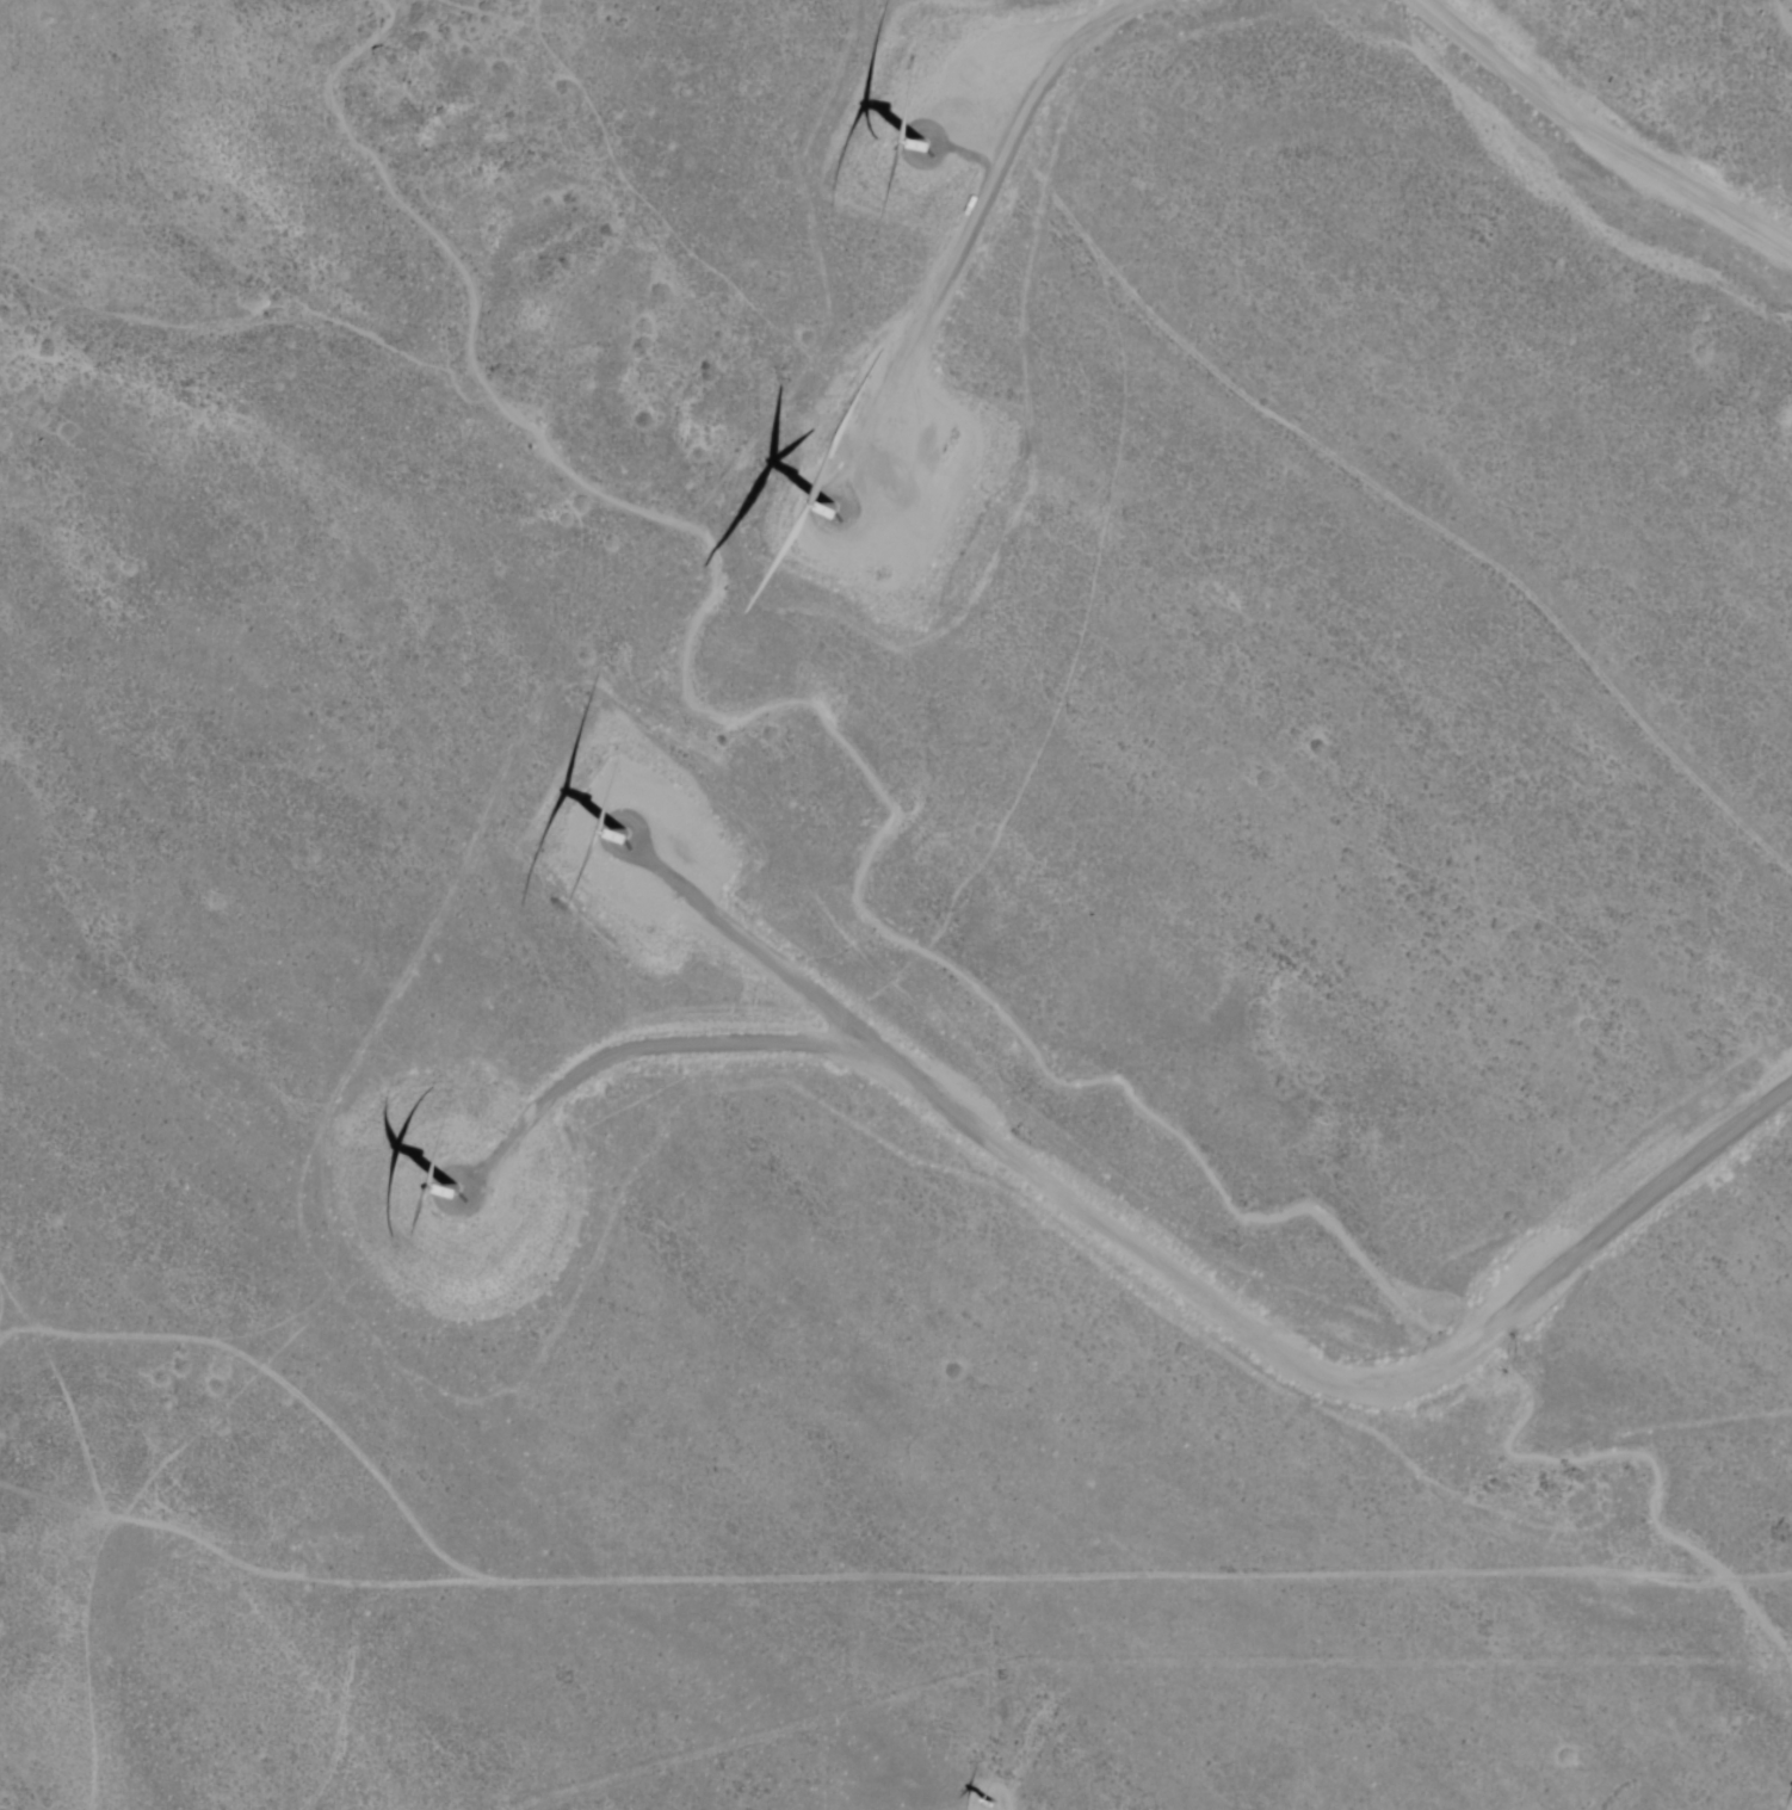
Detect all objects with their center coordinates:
wind turbine: (922, 134)
wind turbine: (865, 530)
wind turbine: (636, 845)
wind turbine: (466, 1184)
road: (1158, 1569)
wind turbine: (987, 1803)

